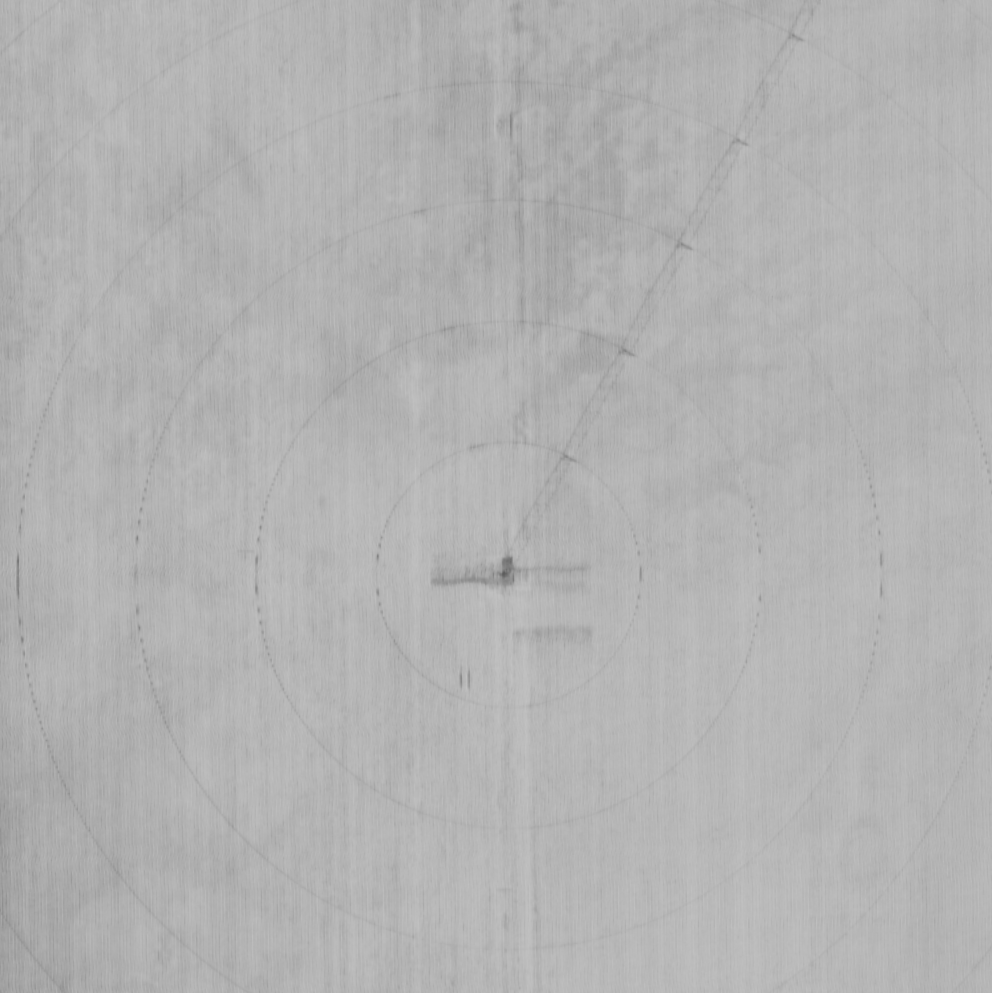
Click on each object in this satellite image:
crop: (495, 495)

